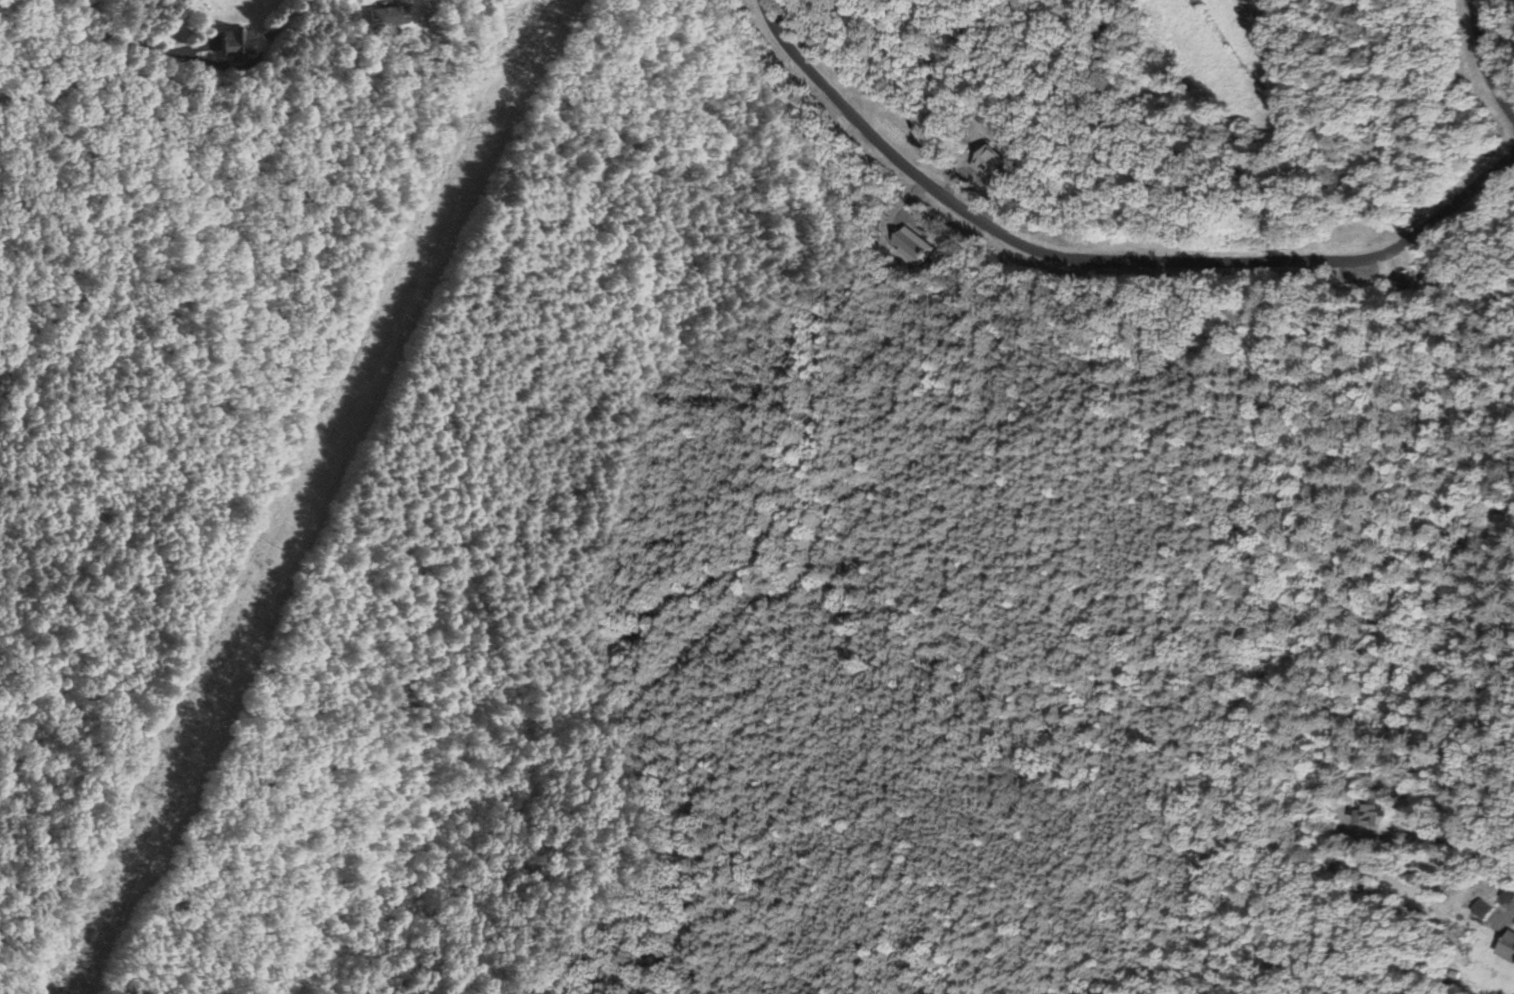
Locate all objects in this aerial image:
building: (235, 45)
road: (1488, 58)
road: (1103, 257)
building: (1365, 815)
road: (1513, 860)
building: (1506, 947)

